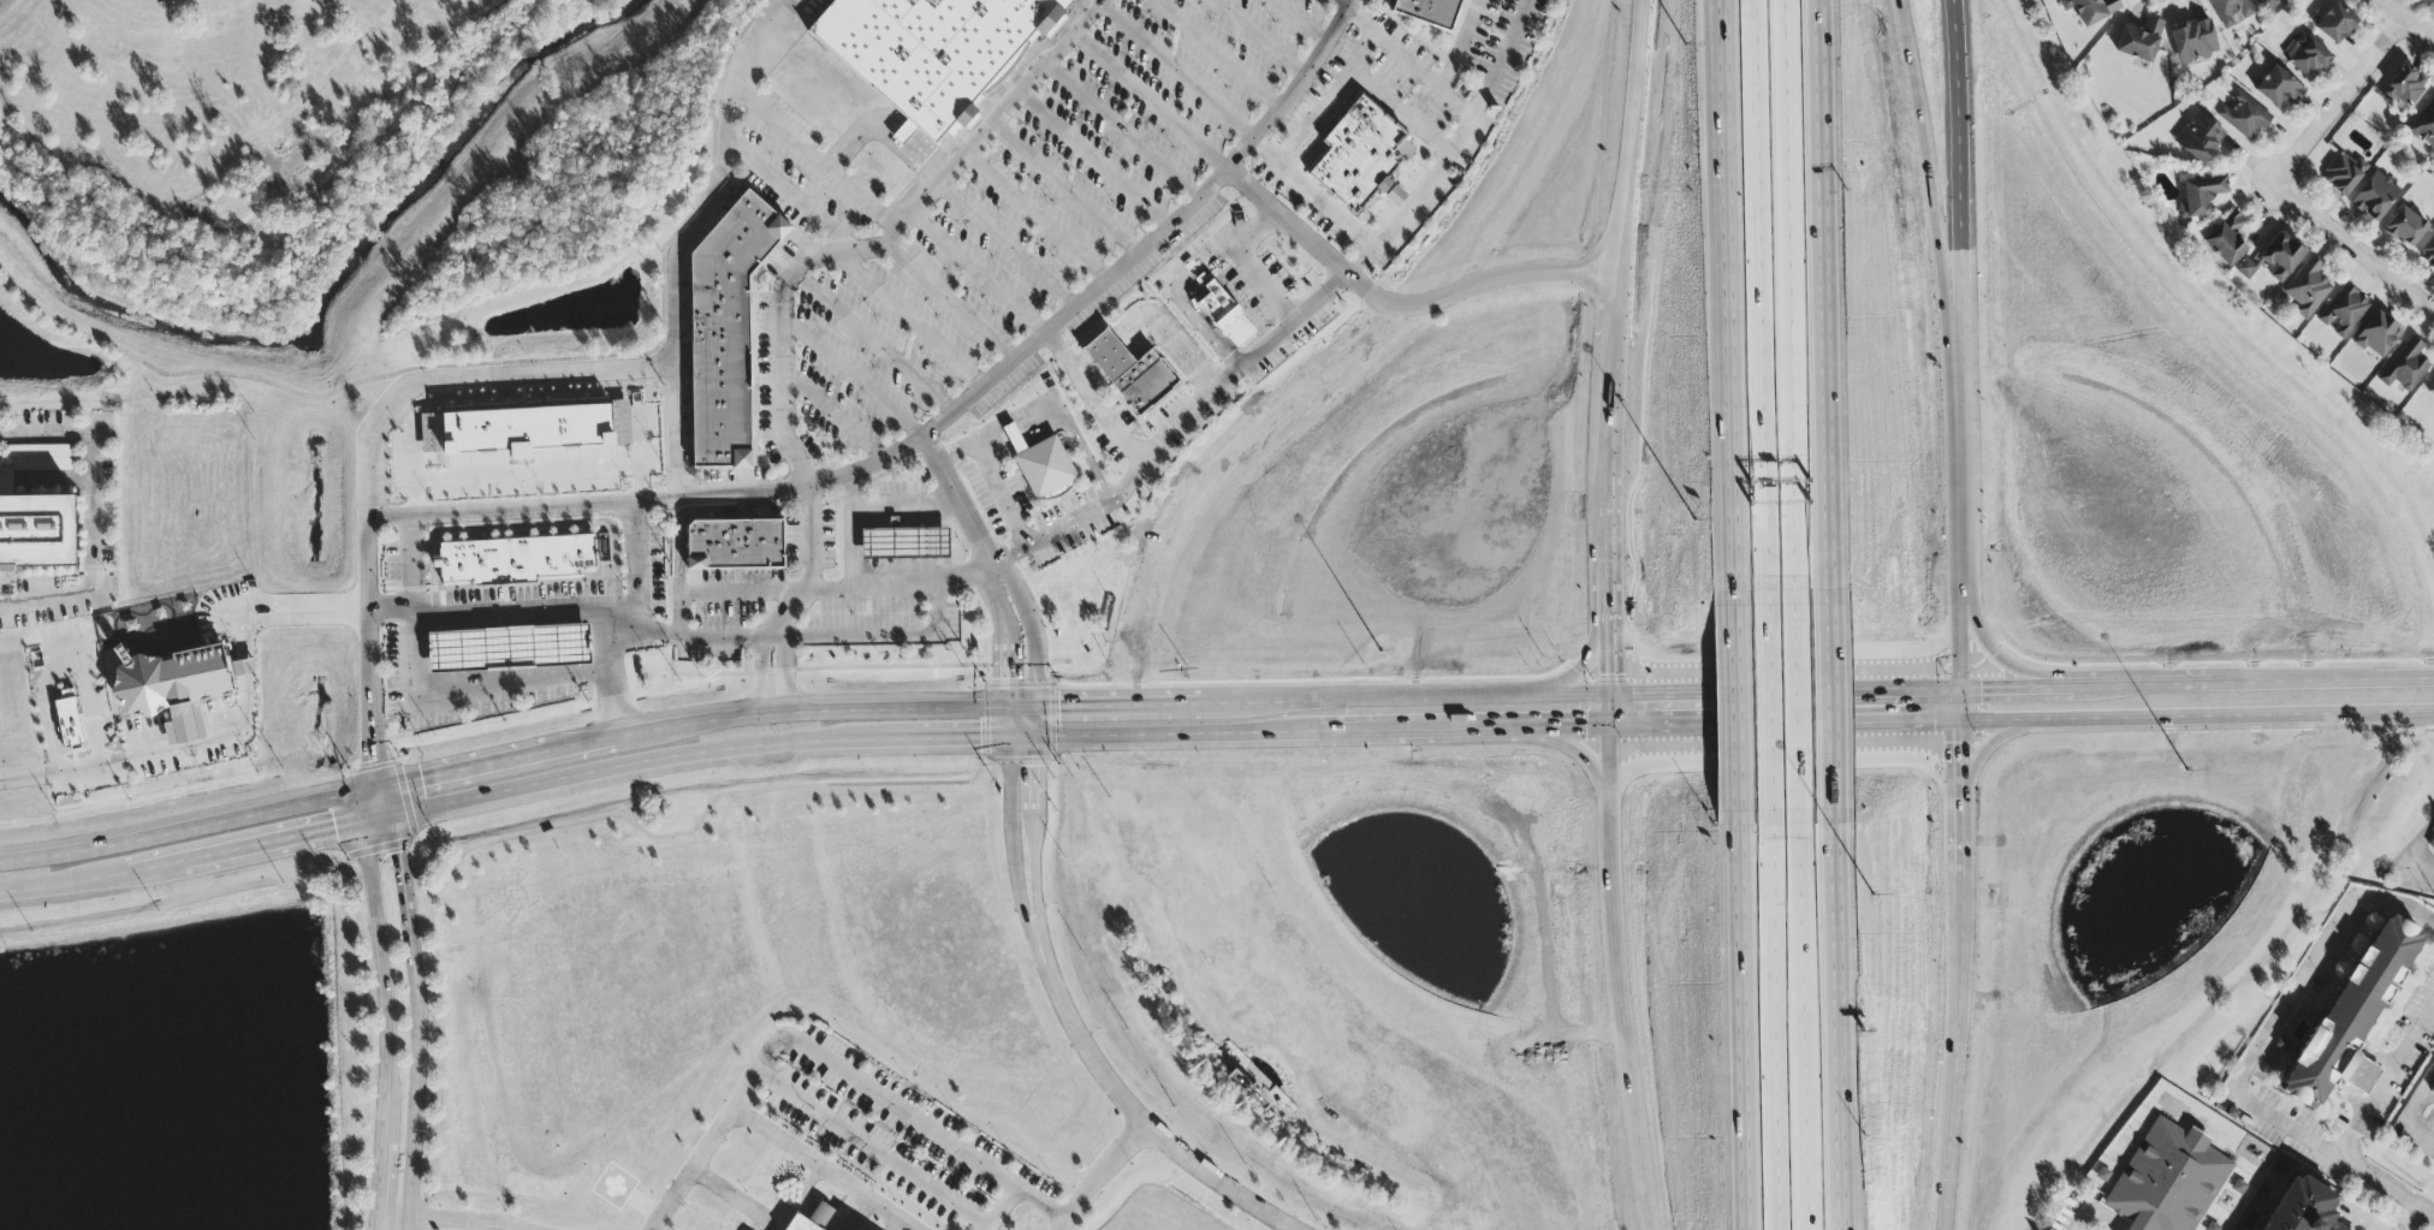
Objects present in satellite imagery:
building: (2268, 4)
building: (2090, 10)
building: (1431, 11)
building: (2231, 11)
road: (1306, 19)
road: (2406, 20)
road: (1468, 23)
building: (2334, 24)
road: (1264, 35)
road: (1507, 38)
building: (2139, 41)
building: (2193, 42)
building: (936, 48)
road: (1217, 53)
building: (2307, 57)
road: (1448, 66)
road: (1173, 70)
road: (1833, 81)
road: (1825, 82)
building: (2404, 87)
building: (2278, 88)
road: (1150, 96)
road: (1483, 96)
road: (1329, 100)
road: (2338, 100)
road: (1399, 113)
building: (2243, 115)
building: (2424, 125)
road: (1121, 127)
road: (1464, 131)
road: (857, 132)
road: (903, 132)
building: (2198, 137)
building: (1358, 151)
road: (1637, 151)
road: (925, 153)
road: (814, 155)
road: (1093, 156)
building: (2343, 174)
road: (1065, 184)
road: (1959, 184)
road: (1311, 192)
road: (791, 194)
building: (2201, 196)
building: (1394, 197)
building: (2375, 197)
road: (1037, 212)
building: (2404, 227)
road: (687, 237)
building: (2226, 240)
road: (1007, 242)
road: (883, 246)
road: (2355, 250)
building: (2428, 254)
road: (1718, 259)
building: (2274, 260)
road: (1243, 262)
road: (975, 272)
river: (332, 283)
building: (2307, 289)
road: (1727, 296)
road: (1758, 296)
road: (1788, 296)
road: (1183, 302)
road: (951, 303)
road: (1399, 307)
building: (2343, 311)
building: (1224, 314)
road: (912, 319)
road: (1613, 327)
building: (728, 328)
building: (2377, 335)
road: (877, 339)
road: (1170, 339)
road: (2226, 352)
road: (1109, 353)
road: (500, 363)
building: (2405, 367)
building: (1132, 372)
road: (1088, 373)
road: (850, 376)
road: (1829, 376)
road: (470, 378)
building: (2432, 391)
road: (1092, 394)
road: (1608, 412)
road: (830, 416)
road: (1067, 422)
road: (940, 423)
road: (1169, 426)
building: (524, 430)
road: (57, 434)
road: (967, 441)
road: (411, 442)
building: (40, 452)
road: (1231, 464)
building: (1045, 467)
road: (528, 473)
building: (7, 481)
road: (47, 481)
road: (1963, 487)
road: (998, 492)
road: (960, 498)
road: (907, 506)
road: (853, 531)
building: (37, 533)
building: (736, 543)
building: (894, 543)
road: (1608, 546)
building: (518, 558)
road: (94, 560)
road: (809, 572)
road: (901, 582)
road: (640, 584)
road: (744, 592)
road: (679, 595)
road: (284, 602)
road: (505, 610)
road: (1029, 629)
road: (1007, 634)
gas station: (511, 648)
road: (369, 649)
building: (457, 652)
road: (1960, 653)
road: (1788, 660)
road: (879, 661)
road: (1609, 664)
road: (1579, 666)
road: (60, 669)
road: (249, 669)
road: (611, 672)
road: (2084, 672)
road: (785, 673)
road: (761, 676)
traffic signals: (1609, 678)
road: (2337, 681)
traffic signals: (1009, 682)
road: (2156, 683)
road: (428, 687)
building: (176, 688)
road: (2016, 688)
traffic signals: (1982, 690)
road: (1783, 694)
traffic signals: (1634, 697)
road: (1569, 699)
road: (1461, 700)
road: (1359, 702)
road: (1067, 707)
road: (1735, 707)
traffic signals: (1058, 708)
road: (1833, 708)
road: (1797, 709)
road: (1770, 711)
road: (2197, 717)
building: (69, 720)
road: (717, 723)
road: (1035, 723)
traffic signals: (1933, 723)
road: (1008, 724)
road: (1785, 726)
road: (1573, 727)
road: (1468, 729)
traffic signals: (1589, 730)
road: (1367, 732)
road: (1185, 733)
road: (1021, 737)
road: (961, 738)
traffic signals: (976, 738)
road: (1996, 739)
road: (866, 741)
road: (209, 743)
road: (782, 744)
traffic signals: (1961, 745)
road: (1578, 748)
road: (1609, 748)
road: (1961, 753)
road: (693, 755)
road: (499, 759)
road: (1783, 761)
traffic signals: (370, 763)
road: (64, 766)
traffic signals: (1034, 772)
traffic signals: (418, 776)
road: (575, 776)
road: (479, 797)
road: (394, 814)
road: (682, 827)
road: (186, 830)
traffic signals: (332, 831)
road: (299, 839)
road: (1034, 839)
road: (1963, 839)
building: (2432, 840)
road: (1010, 842)
road: (2416, 848)
traffic signals: (400, 855)
road: (2416, 873)
road: (127, 877)
road: (418, 1003)
road: (387, 1004)
road: (1619, 1006)
road: (2285, 1012)
building: (2356, 1015)
road: (826, 1017)
road: (1743, 1027)
road: (1803, 1028)
road: (1841, 1028)
road: (1774, 1029)
road: (1957, 1052)
road: (439, 1056)
road: (829, 1058)
road: (2362, 1076)
road: (2386, 1082)
building: (2433, 1089)
building: (2433, 1094)
road: (2427, 1097)
road: (2409, 1111)
road: (1132, 1115)
parking lot: (892, 1139)
road: (896, 1164)
road: (830, 1167)
road: (1099, 1177)
building: (2167, 1180)
helipad: (613, 1187)
road: (2386, 1189)
road: (735, 1196)
building: (2302, 1207)
road: (694, 1210)
road: (2095, 1213)
building: (813, 1218)
road: (2361, 1218)
road: (463, 1220)
road: (2411, 1220)
road: (987, 1228)
road: (387, 1229)
building: (862, 1229)

